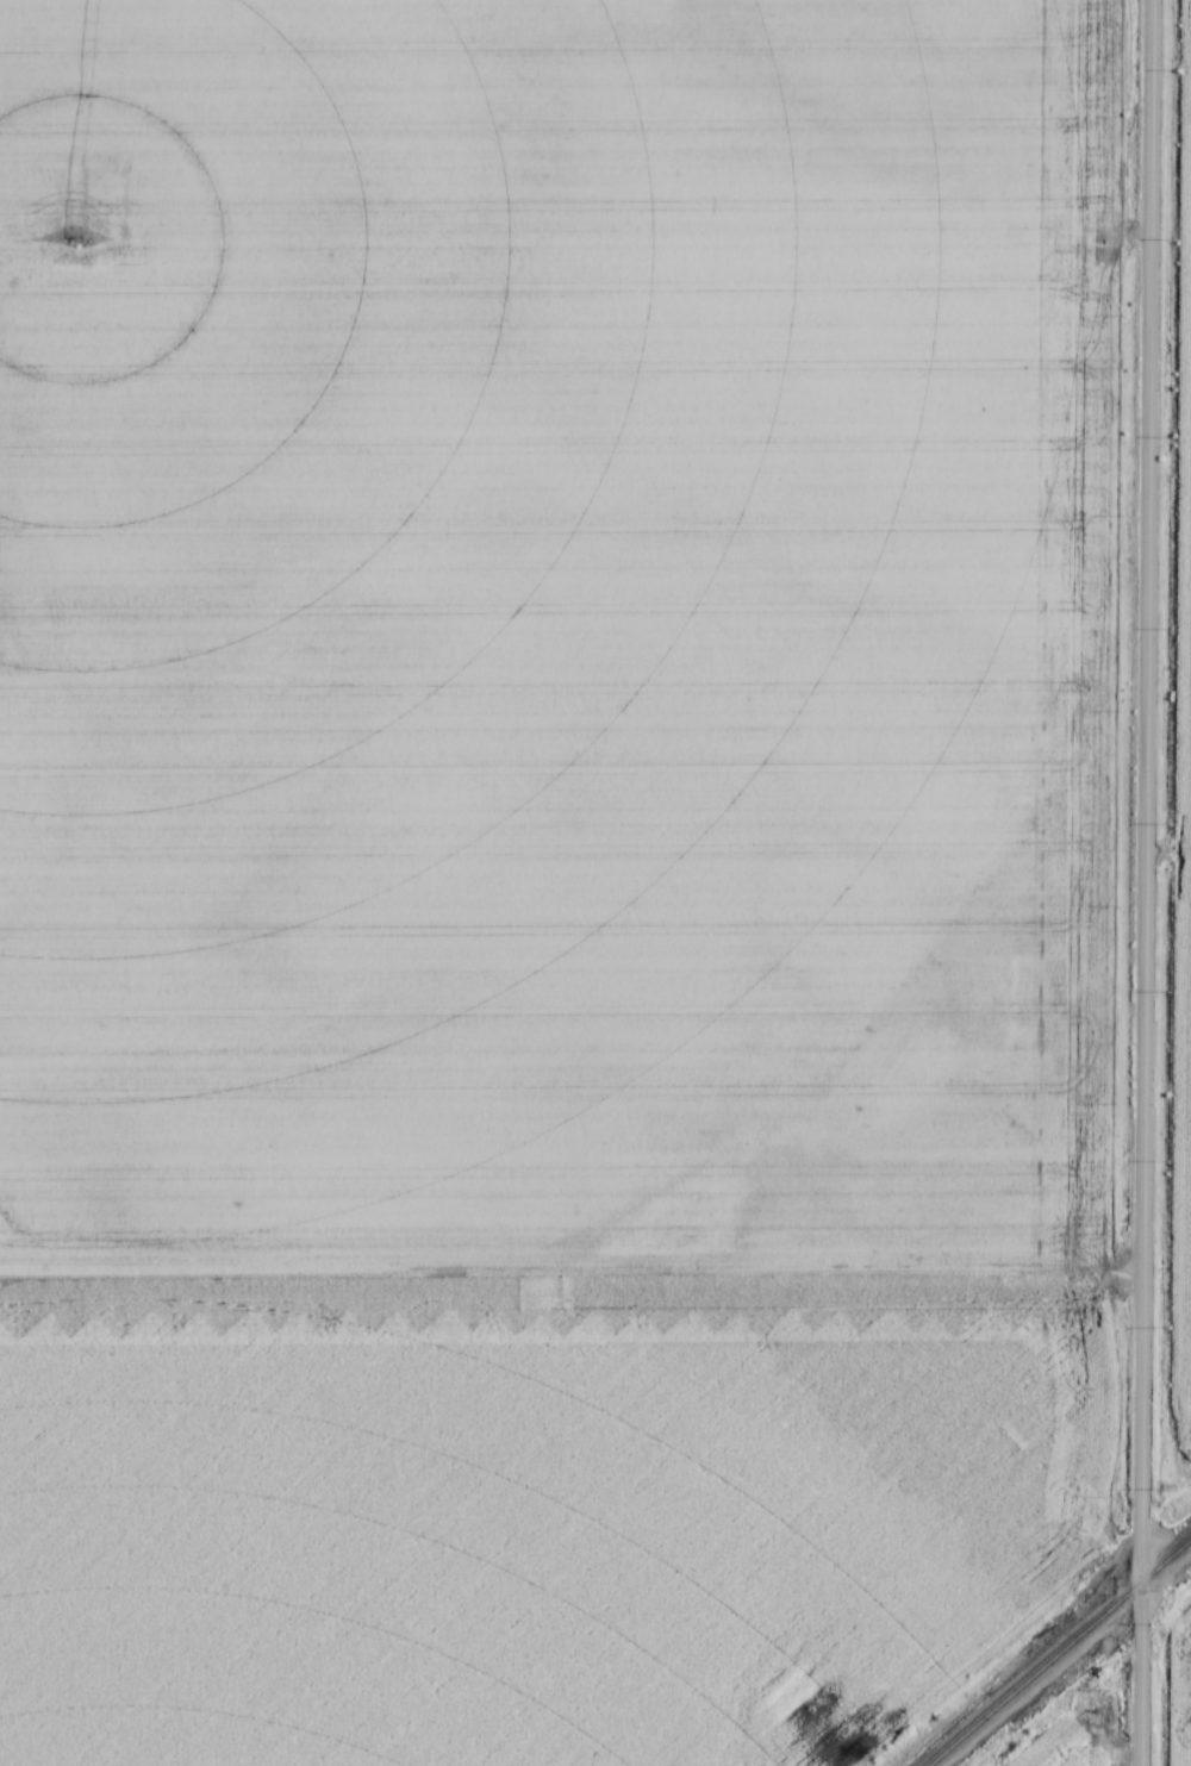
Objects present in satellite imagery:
crop: (545, 630)
road: (1143, 882)
crop: (1186, 1237)
railway: (1059, 1652)
crop: (1179, 1679)
crop: (1075, 1729)

